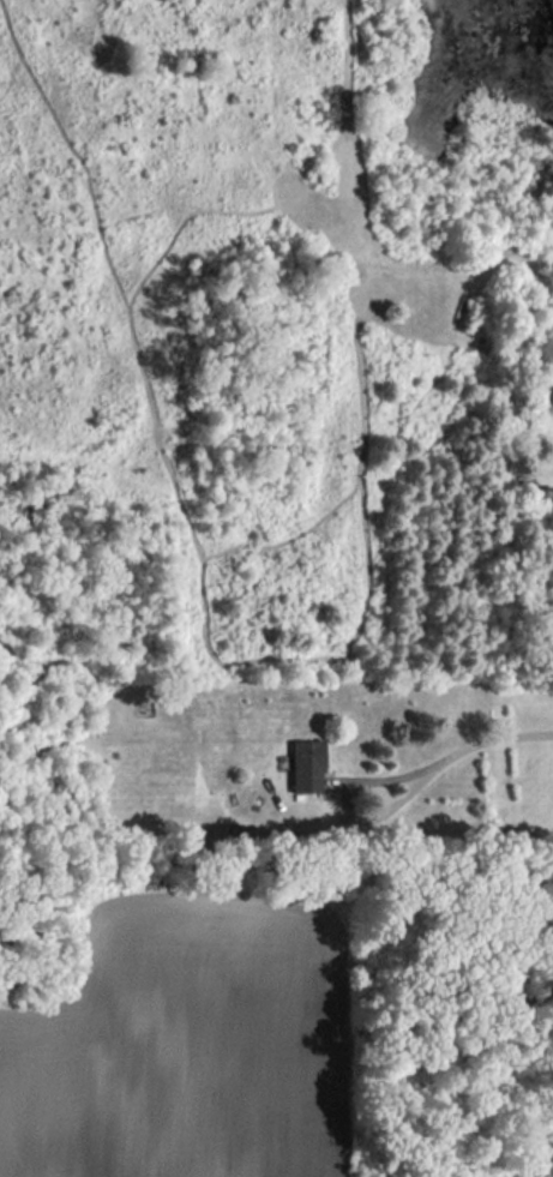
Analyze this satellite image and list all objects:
road: (477, 740)
building: (308, 765)

